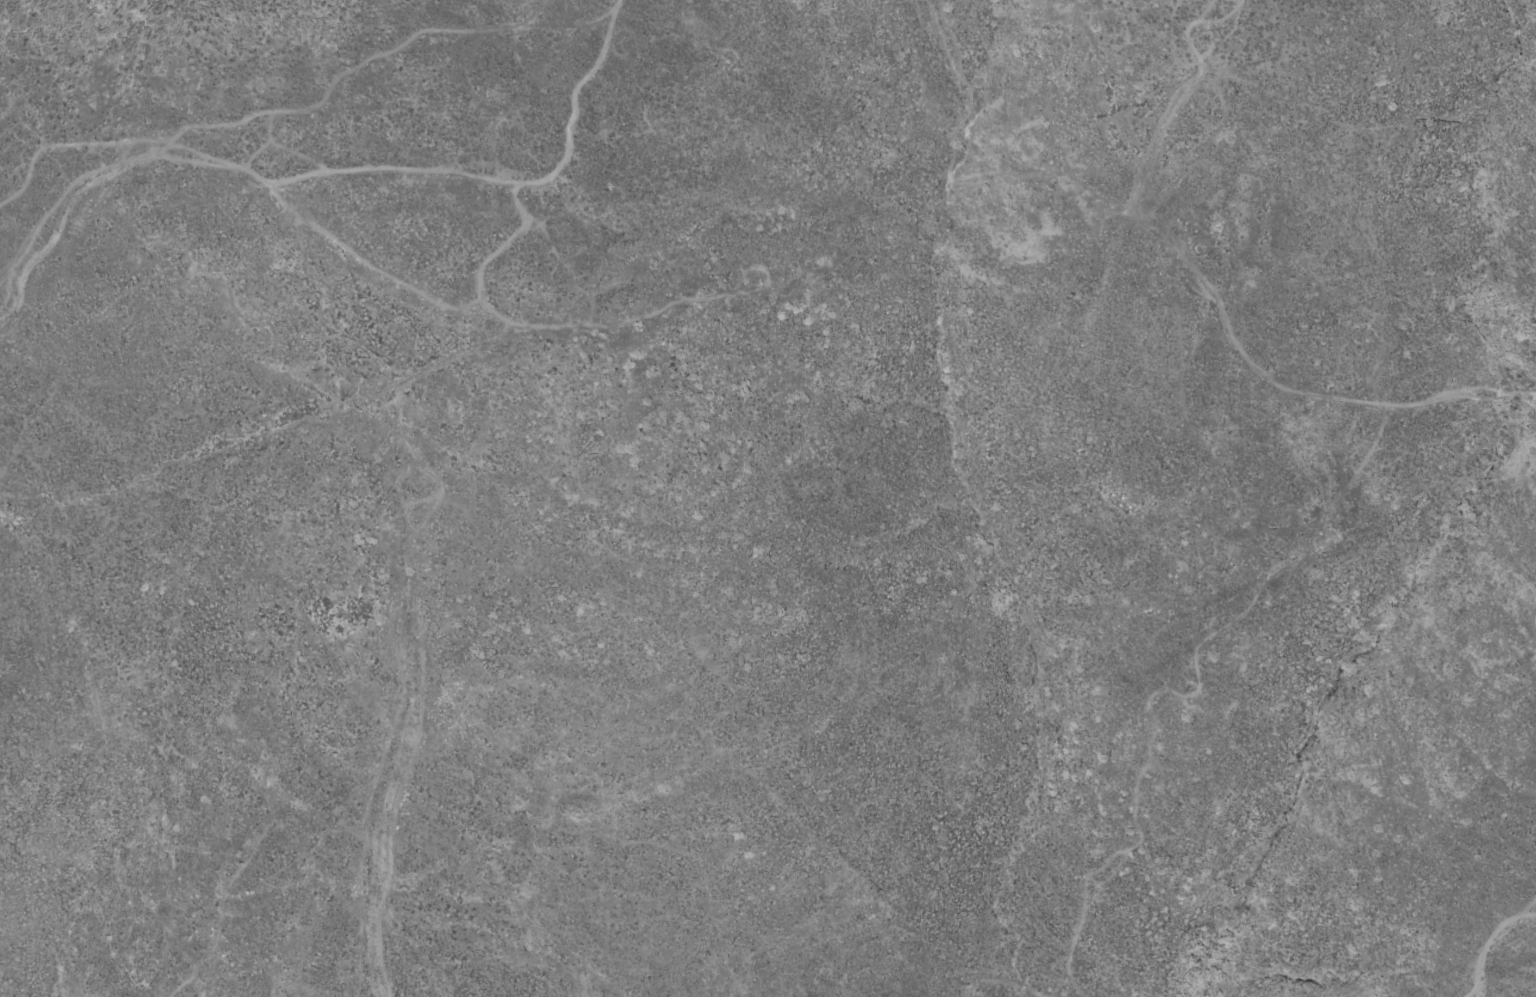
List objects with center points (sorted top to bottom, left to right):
road: (320, 176)
road: (1180, 265)
road: (1495, 948)

